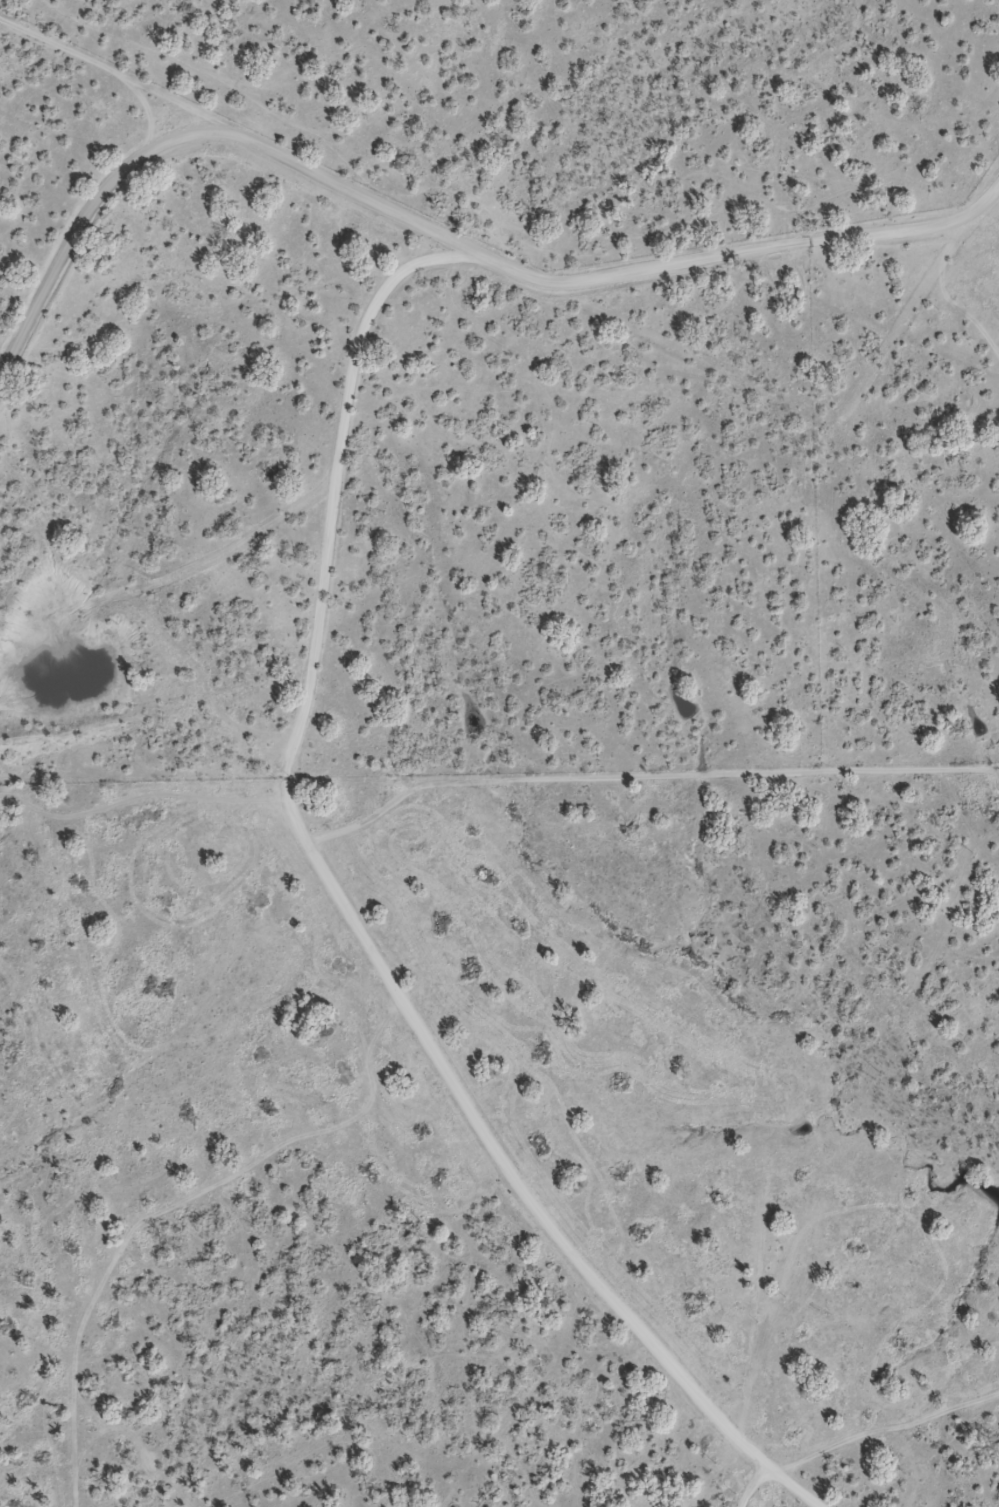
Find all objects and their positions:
road: (101, 65)
road: (438, 236)
road: (350, 915)

